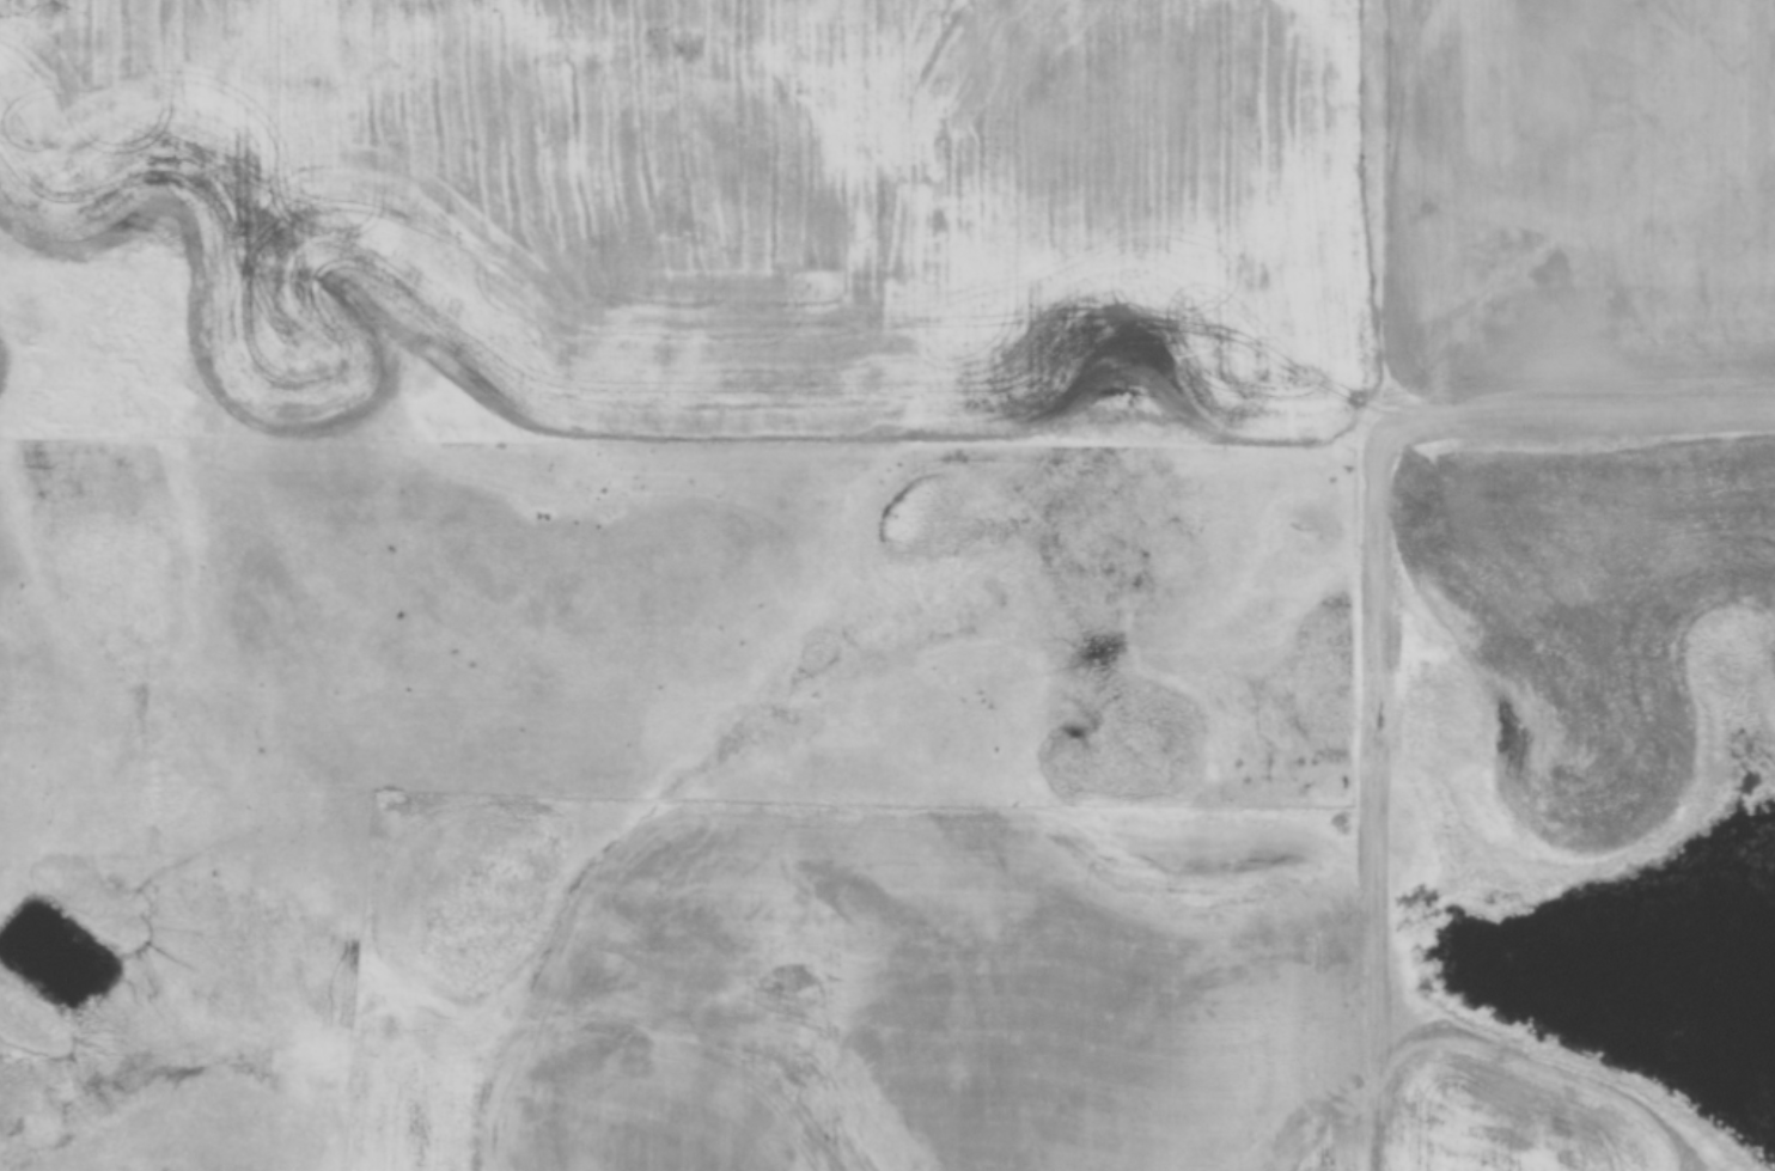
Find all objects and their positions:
road: (1410, 1149)

